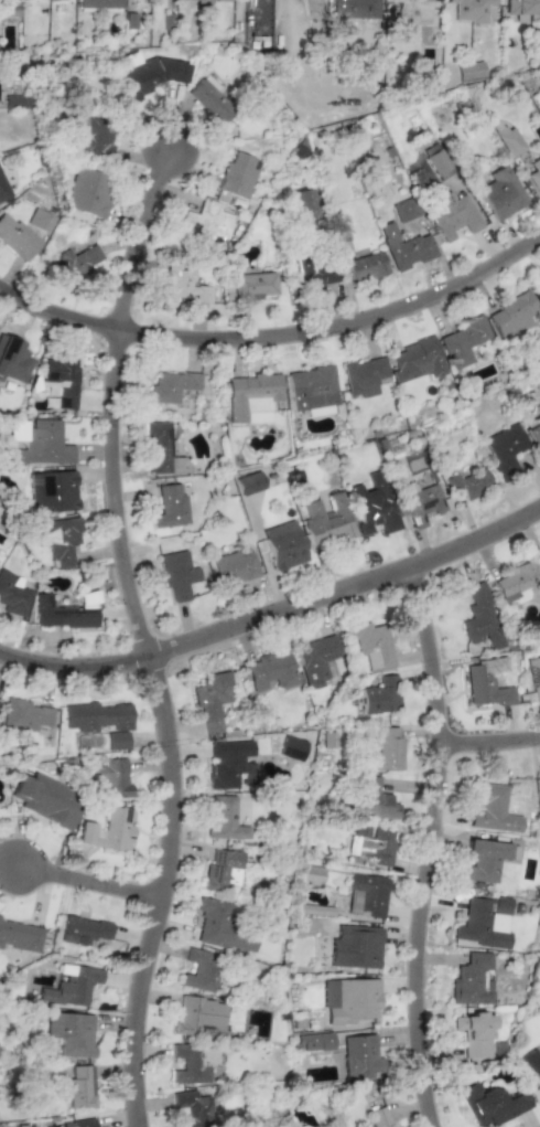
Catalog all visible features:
building: (203, 0)
building: (435, 0)
building: (98, 3)
building: (354, 9)
building: (522, 9)
building: (412, 10)
building: (473, 10)
building: (258, 24)
building: (129, 59)
building: (469, 71)
building: (148, 75)
building: (209, 99)
building: (15, 100)
building: (96, 137)
building: (507, 139)
building: (436, 161)
building: (237, 174)
building: (534, 176)
building: (3, 190)
building: (88, 192)
building: (500, 192)
building: (304, 203)
building: (403, 210)
building: (452, 214)
building: (204, 222)
building: (15, 236)
building: (404, 247)
building: (74, 263)
building: (365, 266)
building: (311, 273)
building: (183, 285)
building: (252, 286)
building: (510, 315)
road: (277, 339)
building: (463, 341)
building: (12, 360)
building: (415, 360)
building: (364, 375)
building: (62, 380)
building: (172, 385)
building: (312, 387)
building: (251, 397)
building: (318, 411)
building: (533, 427)
building: (39, 443)
building: (162, 449)
building: (503, 449)
building: (249, 482)
building: (467, 485)
building: (52, 491)
building: (420, 499)
building: (169, 506)
building: (374, 506)
building: (325, 522)
building: (55, 532)
building: (283, 545)
road: (267, 555)
building: (538, 556)
building: (236, 565)
building: (177, 574)
building: (515, 581)
building: (12, 594)
building: (62, 615)
road: (274, 615)
building: (480, 616)
road: (136, 637)
building: (371, 645)
building: (316, 660)
building: (270, 671)
building: (533, 677)
building: (485, 687)
building: (379, 695)
building: (212, 701)
building: (24, 715)
building: (100, 721)
road: (484, 744)
building: (380, 746)
building: (291, 747)
building: (229, 764)
building: (539, 778)
building: (111, 779)
building: (46, 798)
building: (372, 800)
building: (492, 805)
building: (107, 830)
building: (371, 844)
road: (423, 849)
building: (484, 859)
building: (222, 870)
building: (311, 875)
road: (84, 884)
building: (366, 895)
building: (484, 923)
building: (220, 926)
building: (20, 936)
building: (355, 947)
building: (201, 969)
building: (472, 979)
building: (69, 987)
building: (349, 999)
building: (183, 1018)
building: (71, 1032)
building: (476, 1034)
building: (313, 1042)
building: (359, 1056)
building: (188, 1064)
building: (531, 1067)
building: (79, 1086)
building: (490, 1104)
building: (192, 1108)
building: (379, 1117)
building: (79, 1124)

